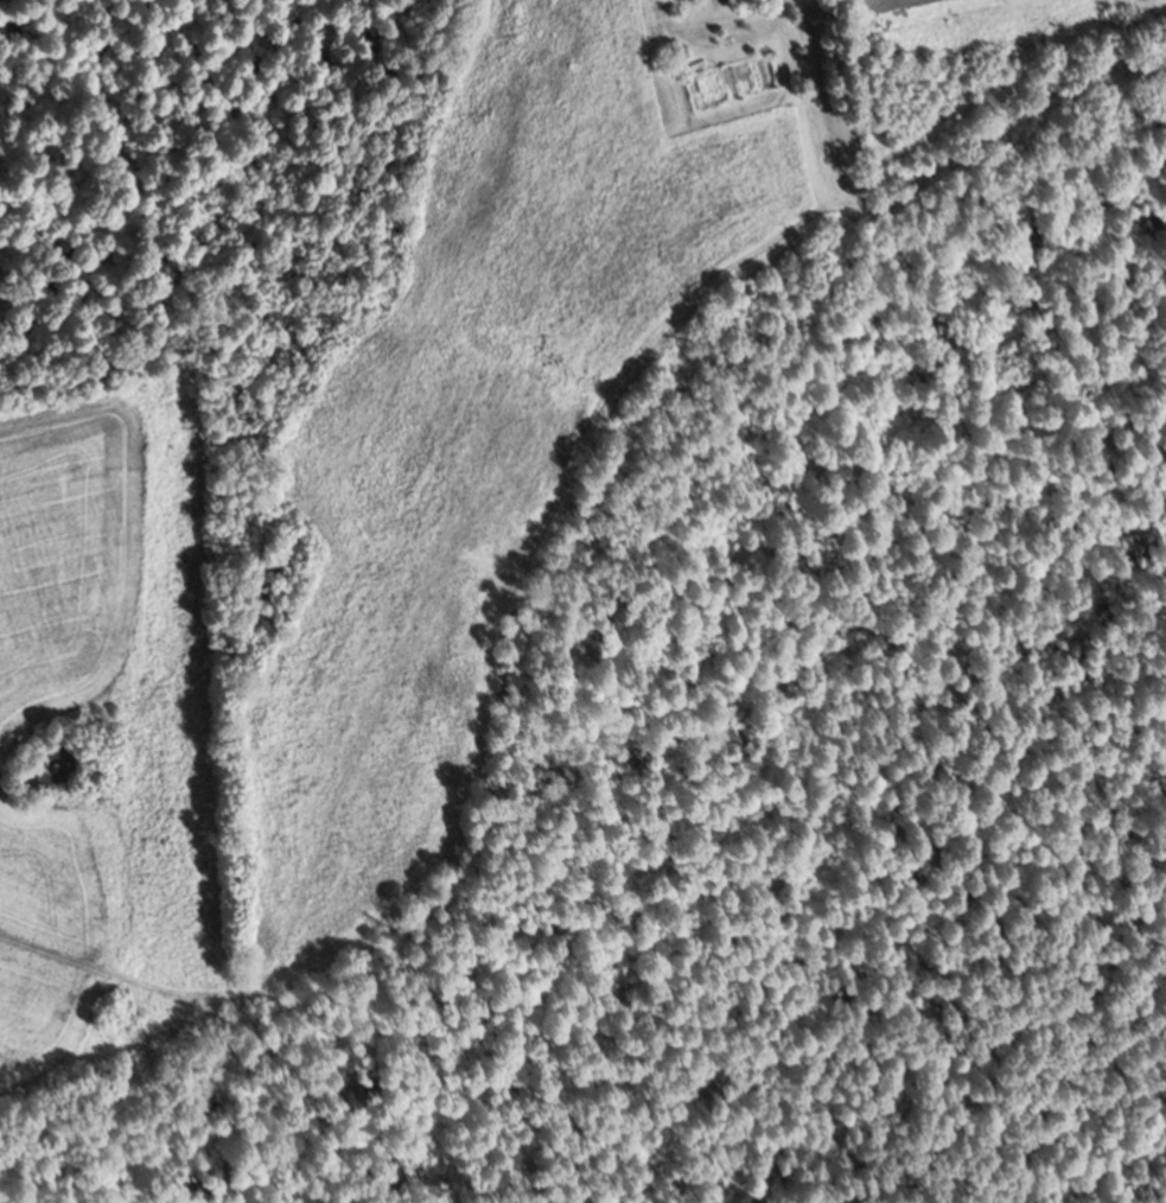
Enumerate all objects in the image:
road: (830, 119)
road: (554, 585)

